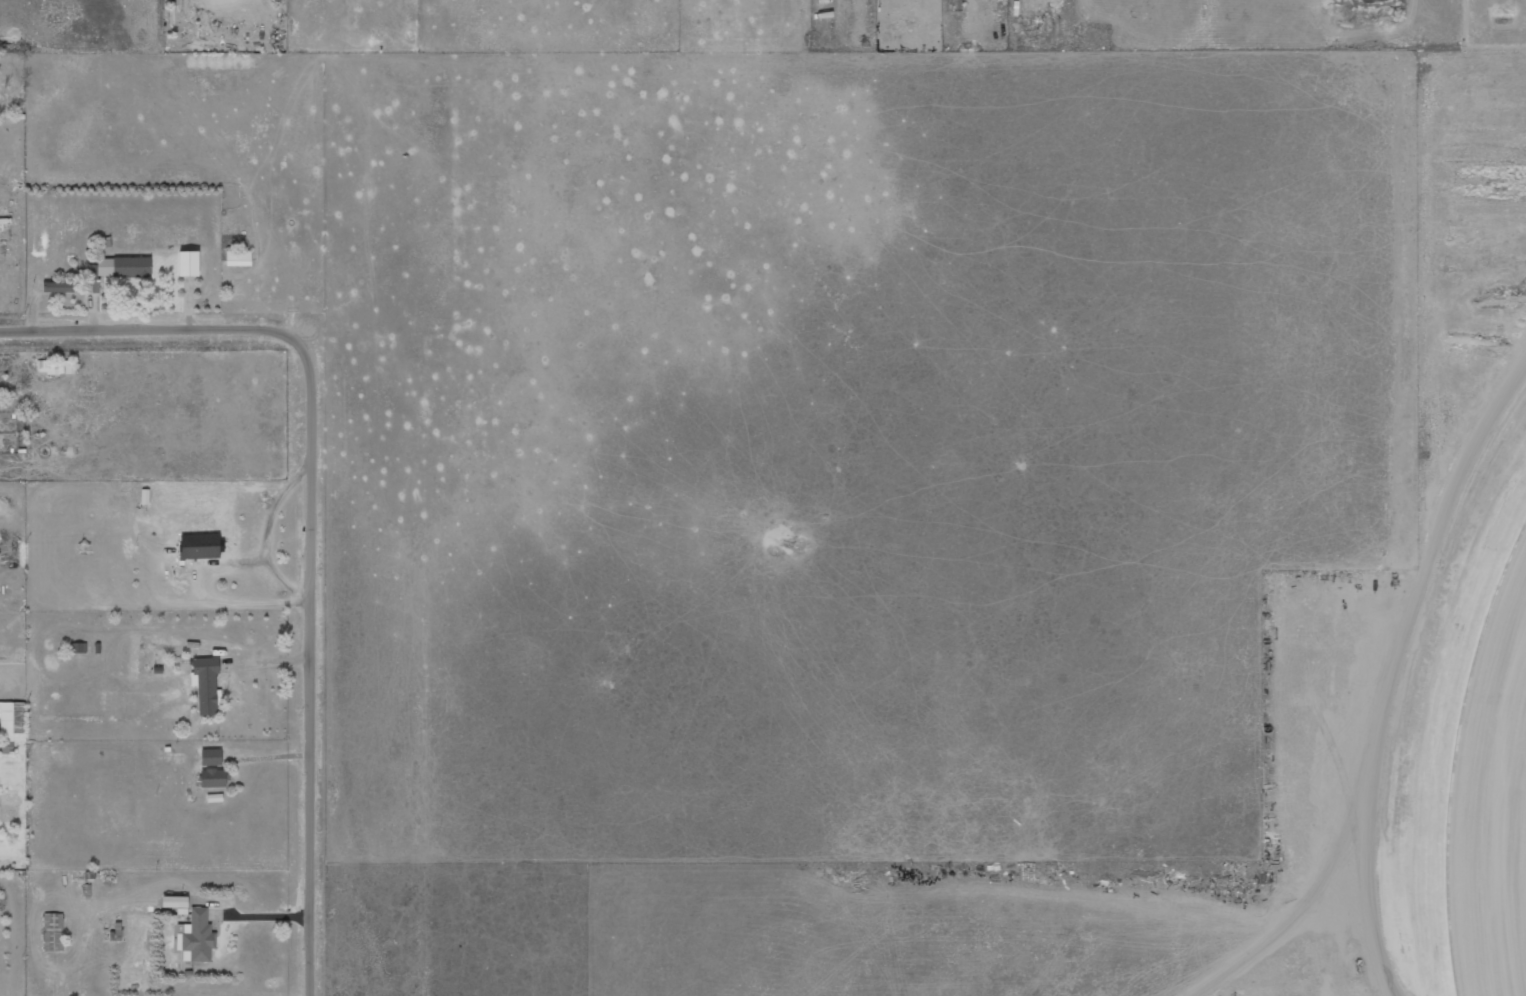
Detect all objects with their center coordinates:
building: (237, 258)
building: (187, 263)
building: (123, 267)
building: (91, 278)
building: (59, 286)
building: (54, 367)
road: (313, 515)
building: (199, 546)
building: (77, 647)
building: (205, 684)
building: (12, 721)
building: (210, 757)
building: (214, 778)
building: (173, 901)
building: (52, 932)
building: (195, 937)

